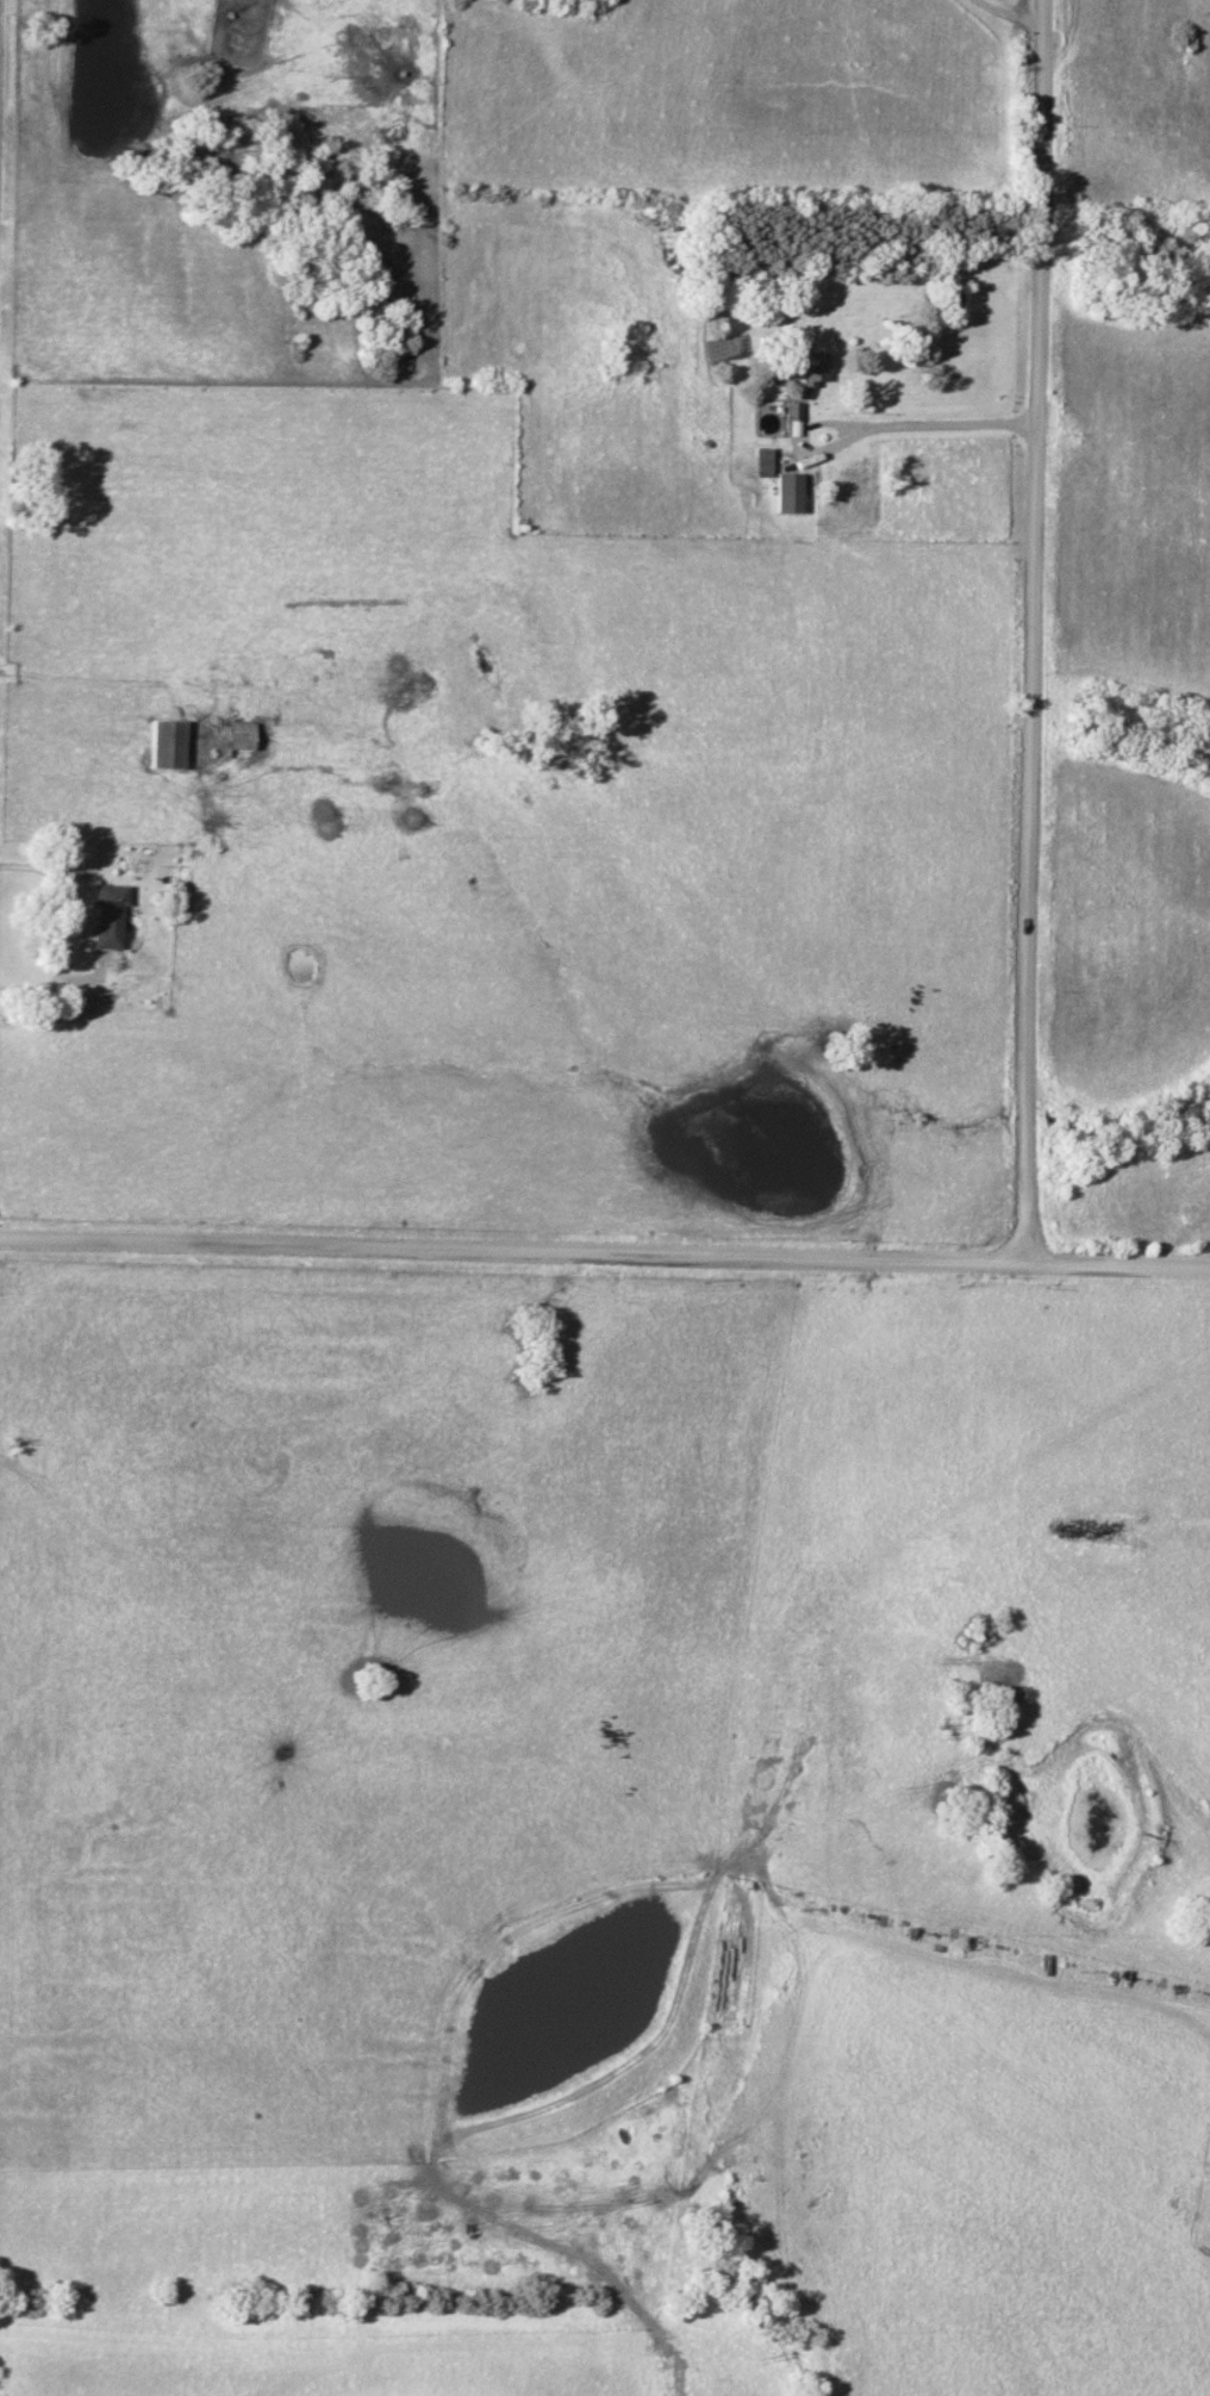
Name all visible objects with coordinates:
road: (1011, 11)
building: (813, 369)
building: (793, 412)
road: (817, 424)
road: (966, 424)
building: (763, 460)
building: (788, 493)
road: (1036, 633)
road: (26, 676)
road: (199, 738)
building: (238, 740)
building: (164, 743)
building: (107, 914)
road: (69, 931)
road: (604, 1256)

